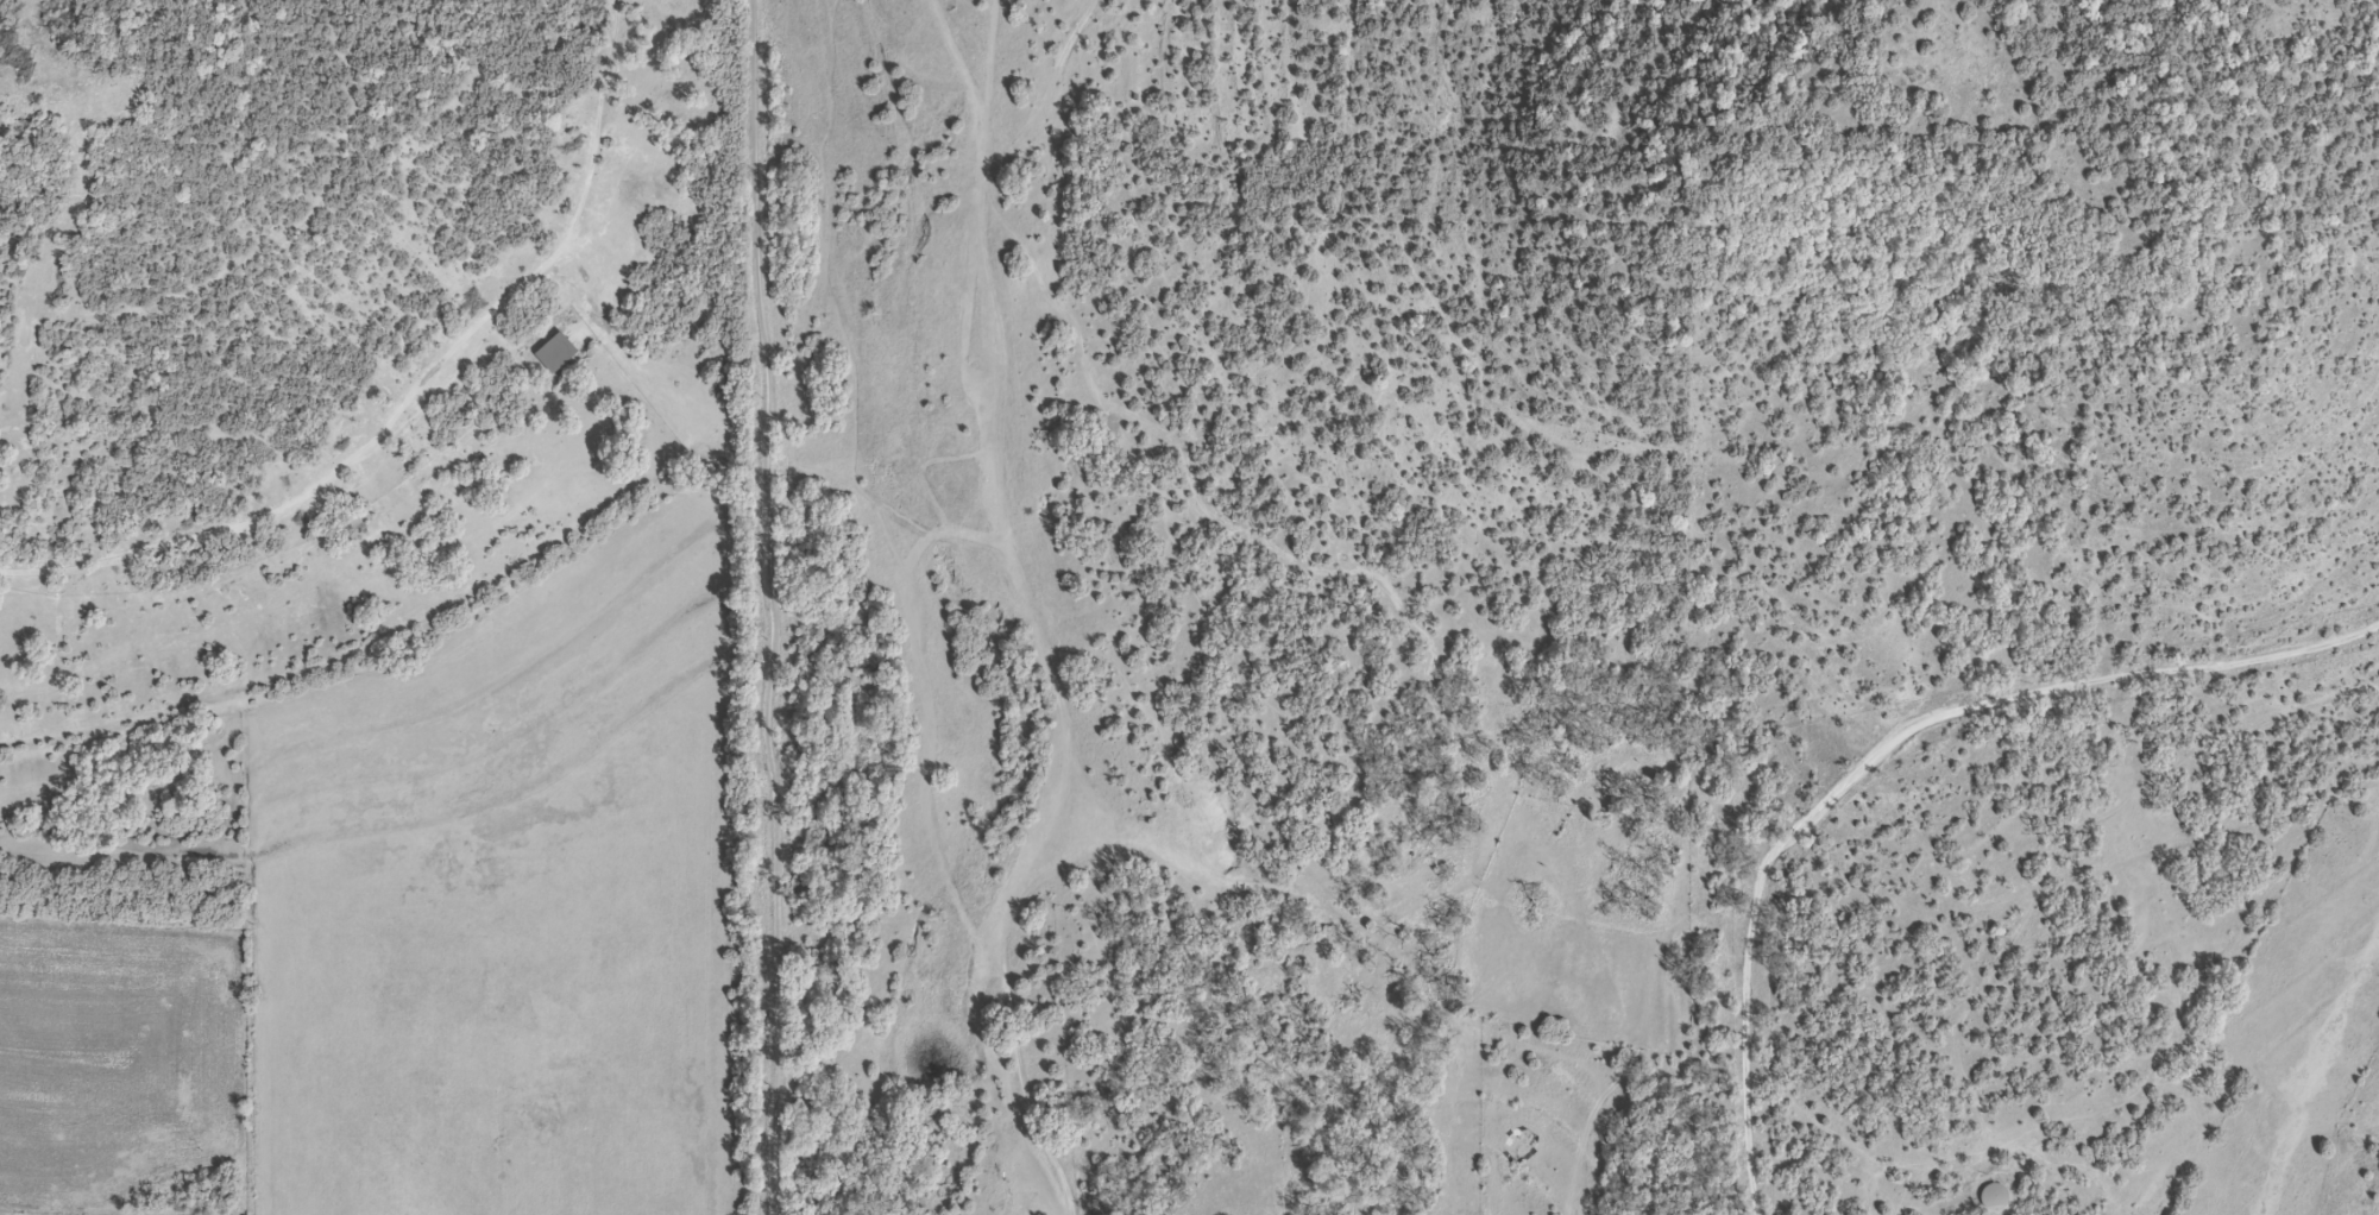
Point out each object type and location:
building: (556, 355)
road: (414, 402)
road: (773, 607)
road: (1888, 757)
building: (1994, 1198)

